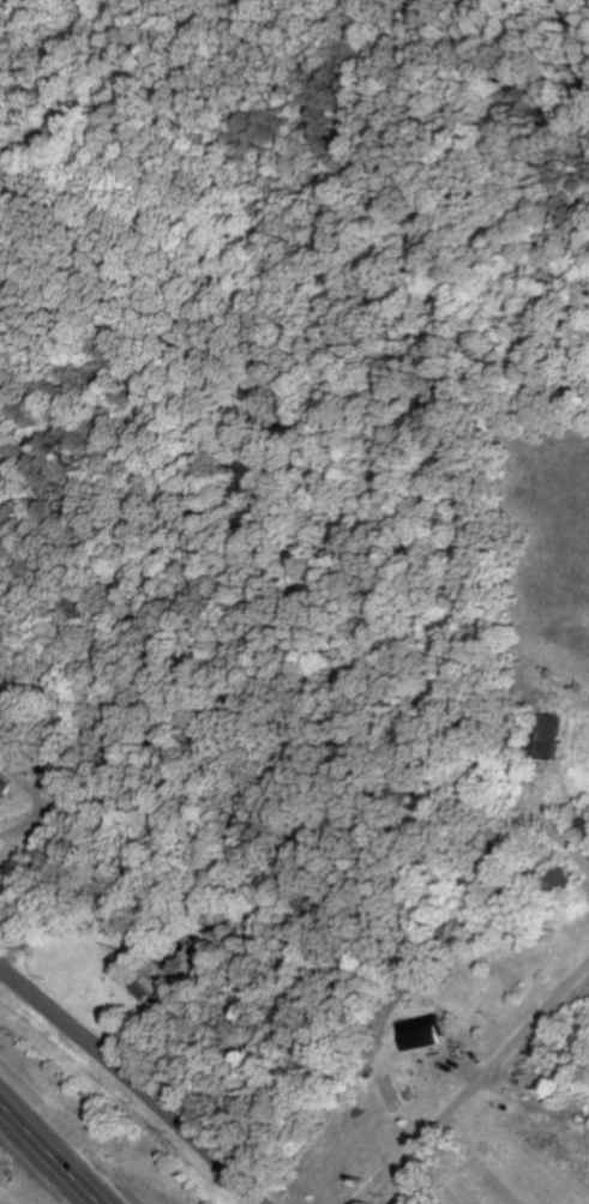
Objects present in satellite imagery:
building: (546, 736)
building: (421, 1031)
road: (130, 1083)
road: (482, 1092)
road: (1, 1121)
road: (46, 1156)

